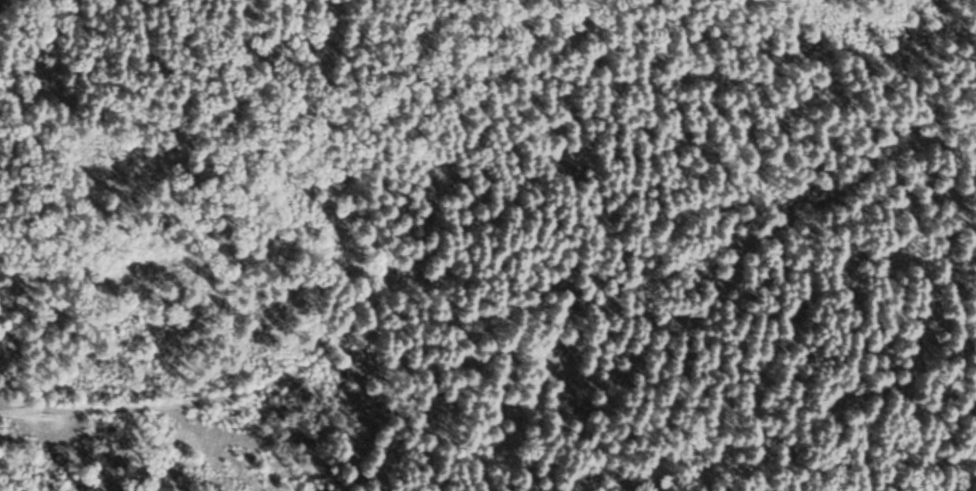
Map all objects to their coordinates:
road: (501, 311)

